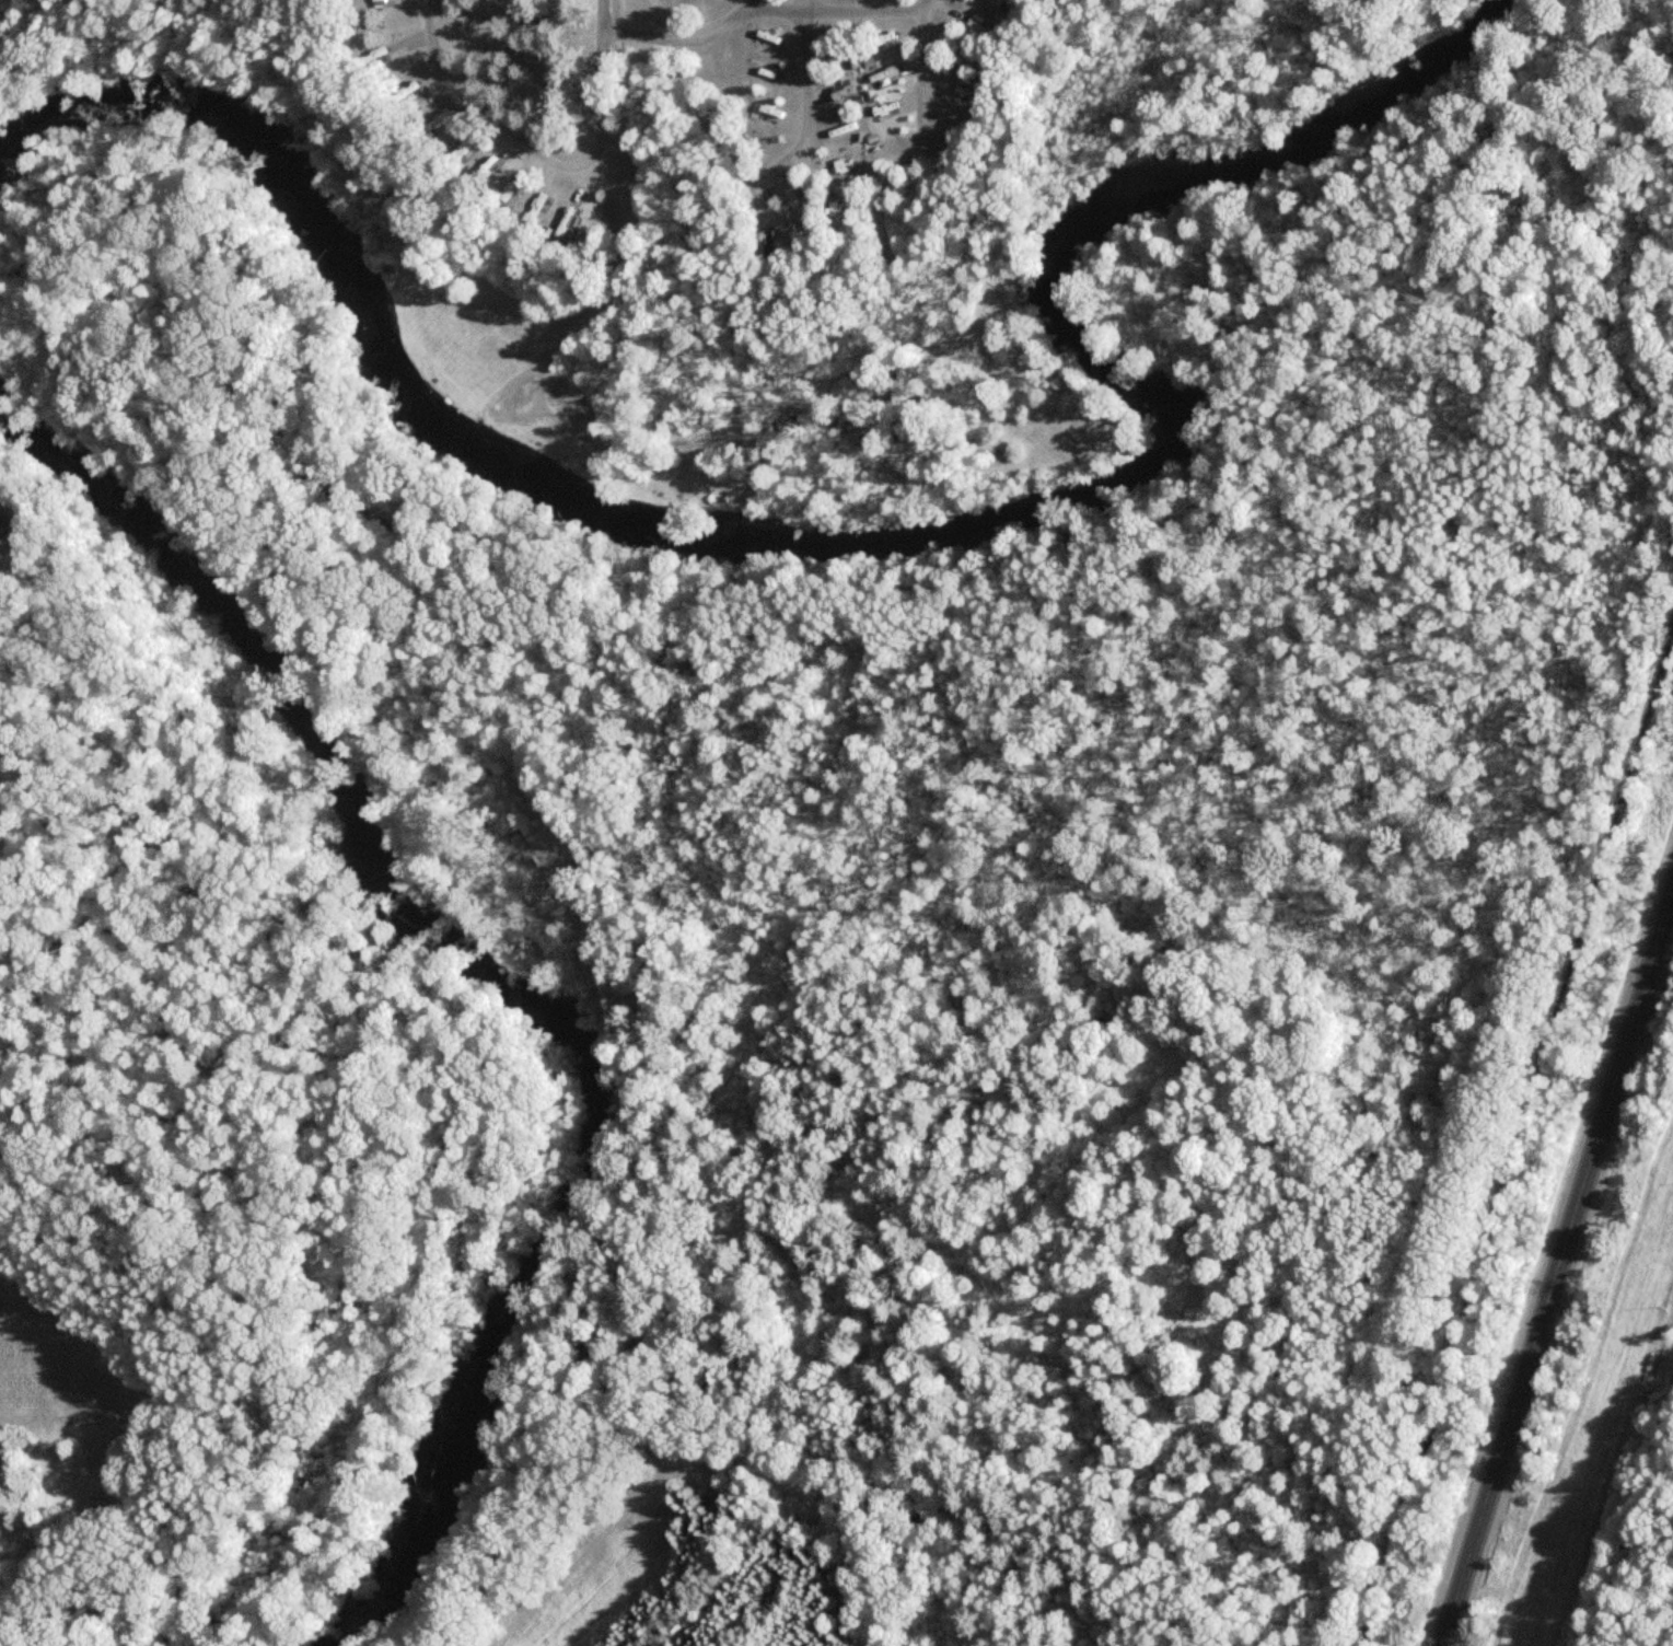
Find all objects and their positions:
road: (928, 3)
road: (679, 40)
road: (805, 58)
road: (481, 107)
road: (549, 147)
building: (460, 150)
road: (779, 220)
road: (619, 223)
road: (874, 232)
river: (886, 535)
river: (502, 986)
road: (1526, 1133)
road: (1557, 1270)

